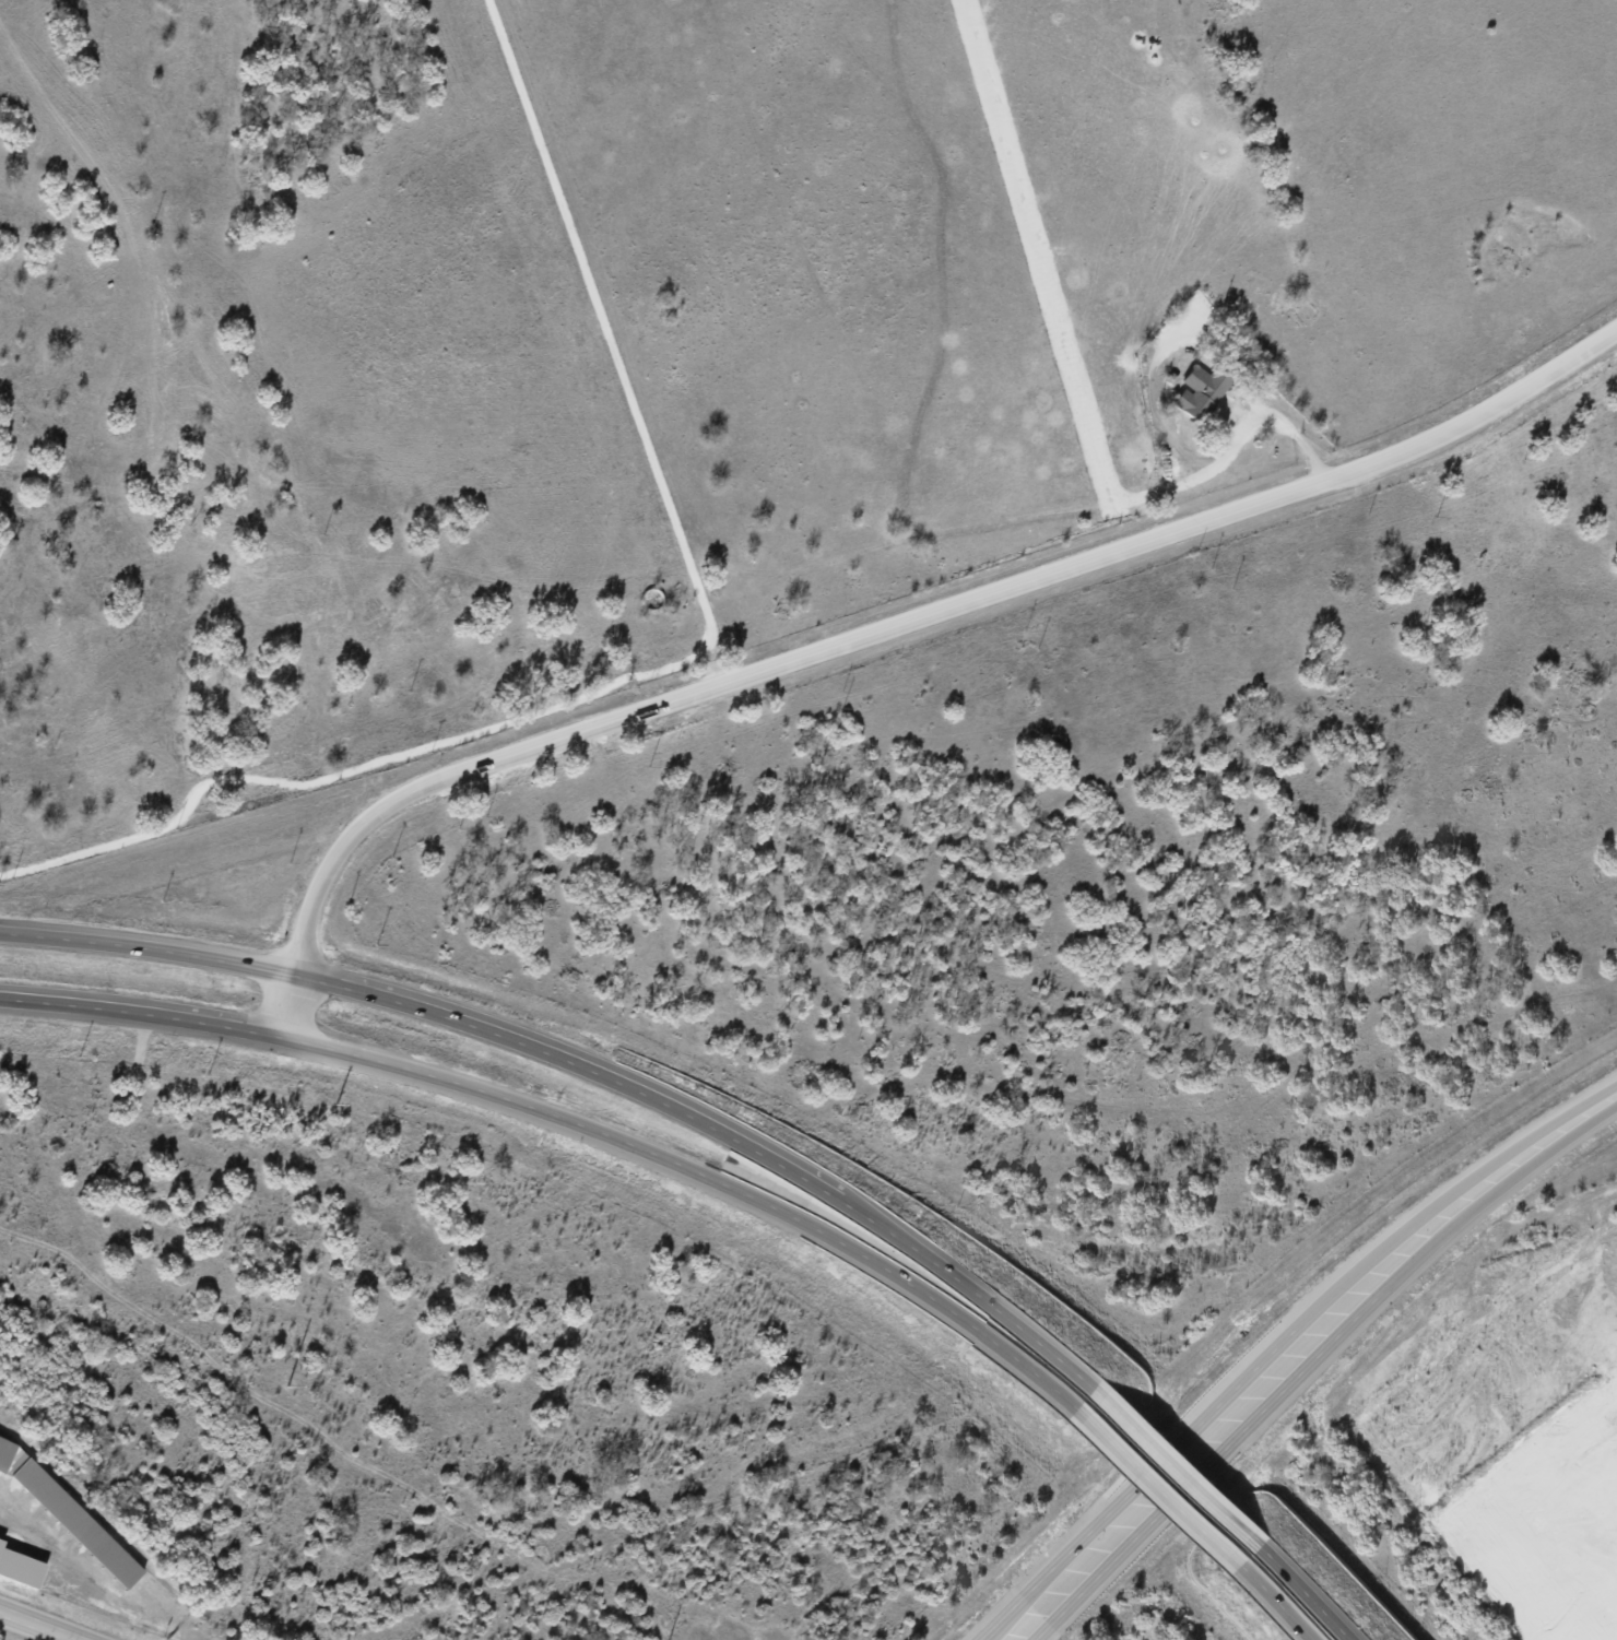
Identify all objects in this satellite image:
road: (1071, 375)
building: (1200, 392)
road: (916, 618)
road: (147, 946)
road: (287, 1006)
road: (140, 1014)
road: (730, 1133)
road: (710, 1176)
road: (1291, 1347)
power tower: (283, 1385)
building: (5, 1448)
road: (1183, 1470)
road: (1162, 1490)
building: (75, 1522)
road: (1303, 1591)
road: (1268, 1601)
road: (38, 1625)

